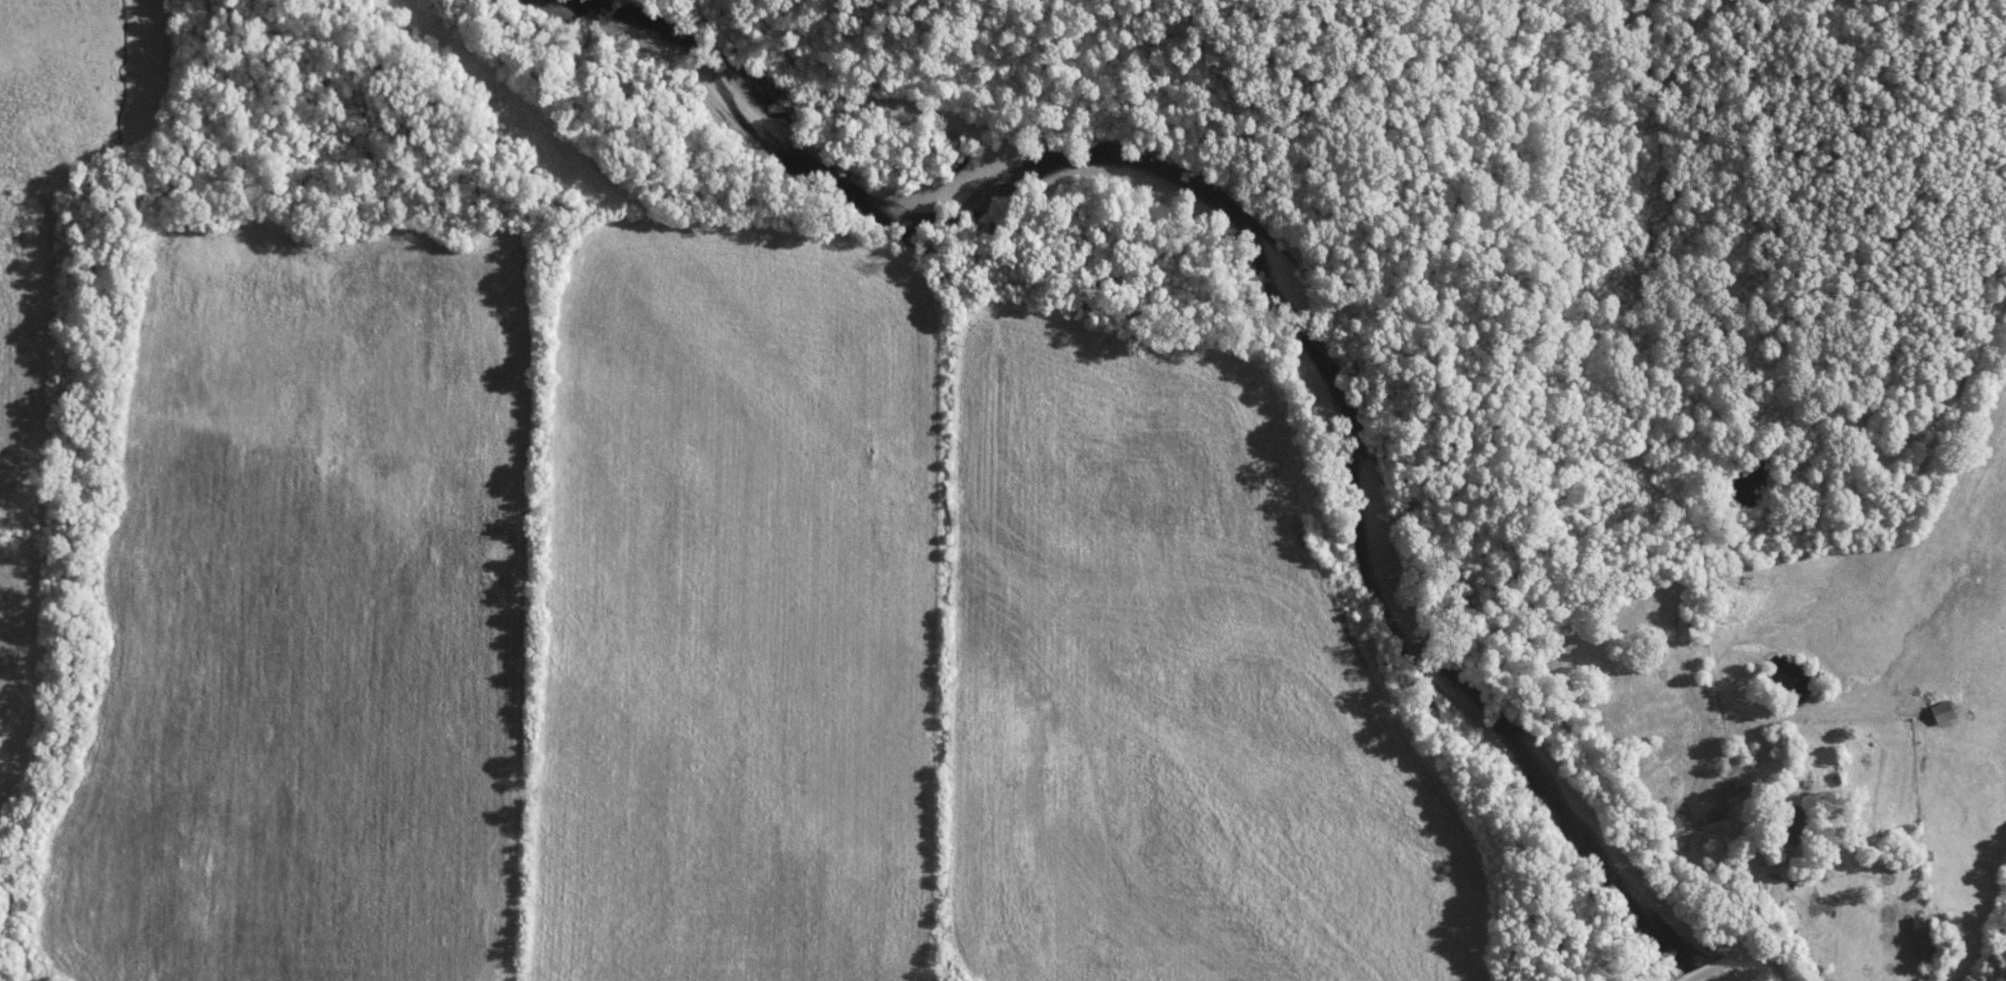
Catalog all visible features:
building: (1944, 713)
building: (1792, 825)
building: (1881, 859)
road: (1701, 868)
building: (1927, 940)
road: (1735, 964)

